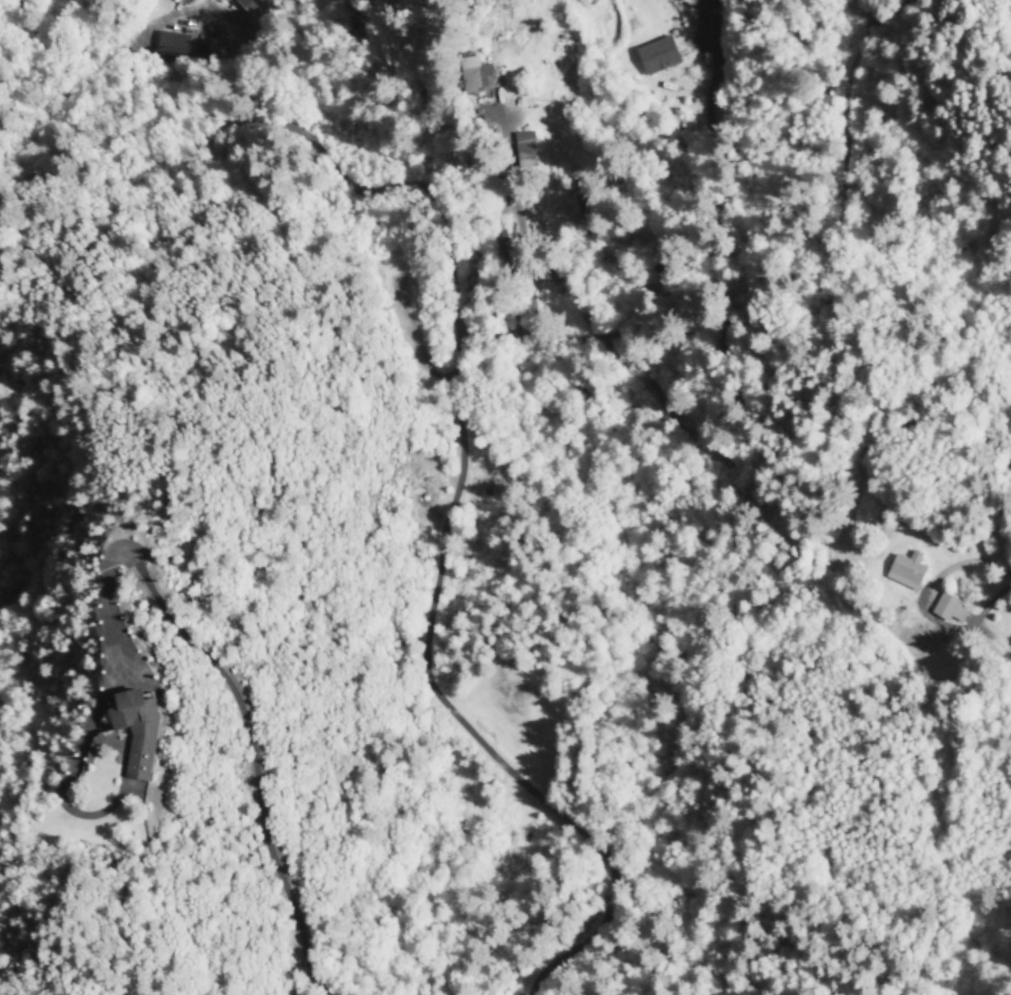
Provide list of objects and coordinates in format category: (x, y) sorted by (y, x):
building: (250, 4)
building: (174, 44)
building: (659, 54)
building: (474, 74)
building: (525, 147)
road: (253, 154)
road: (434, 289)
road: (506, 383)
road: (638, 509)
building: (907, 569)
building: (949, 607)
road: (310, 703)
building: (148, 730)
road: (149, 796)
road: (786, 823)

